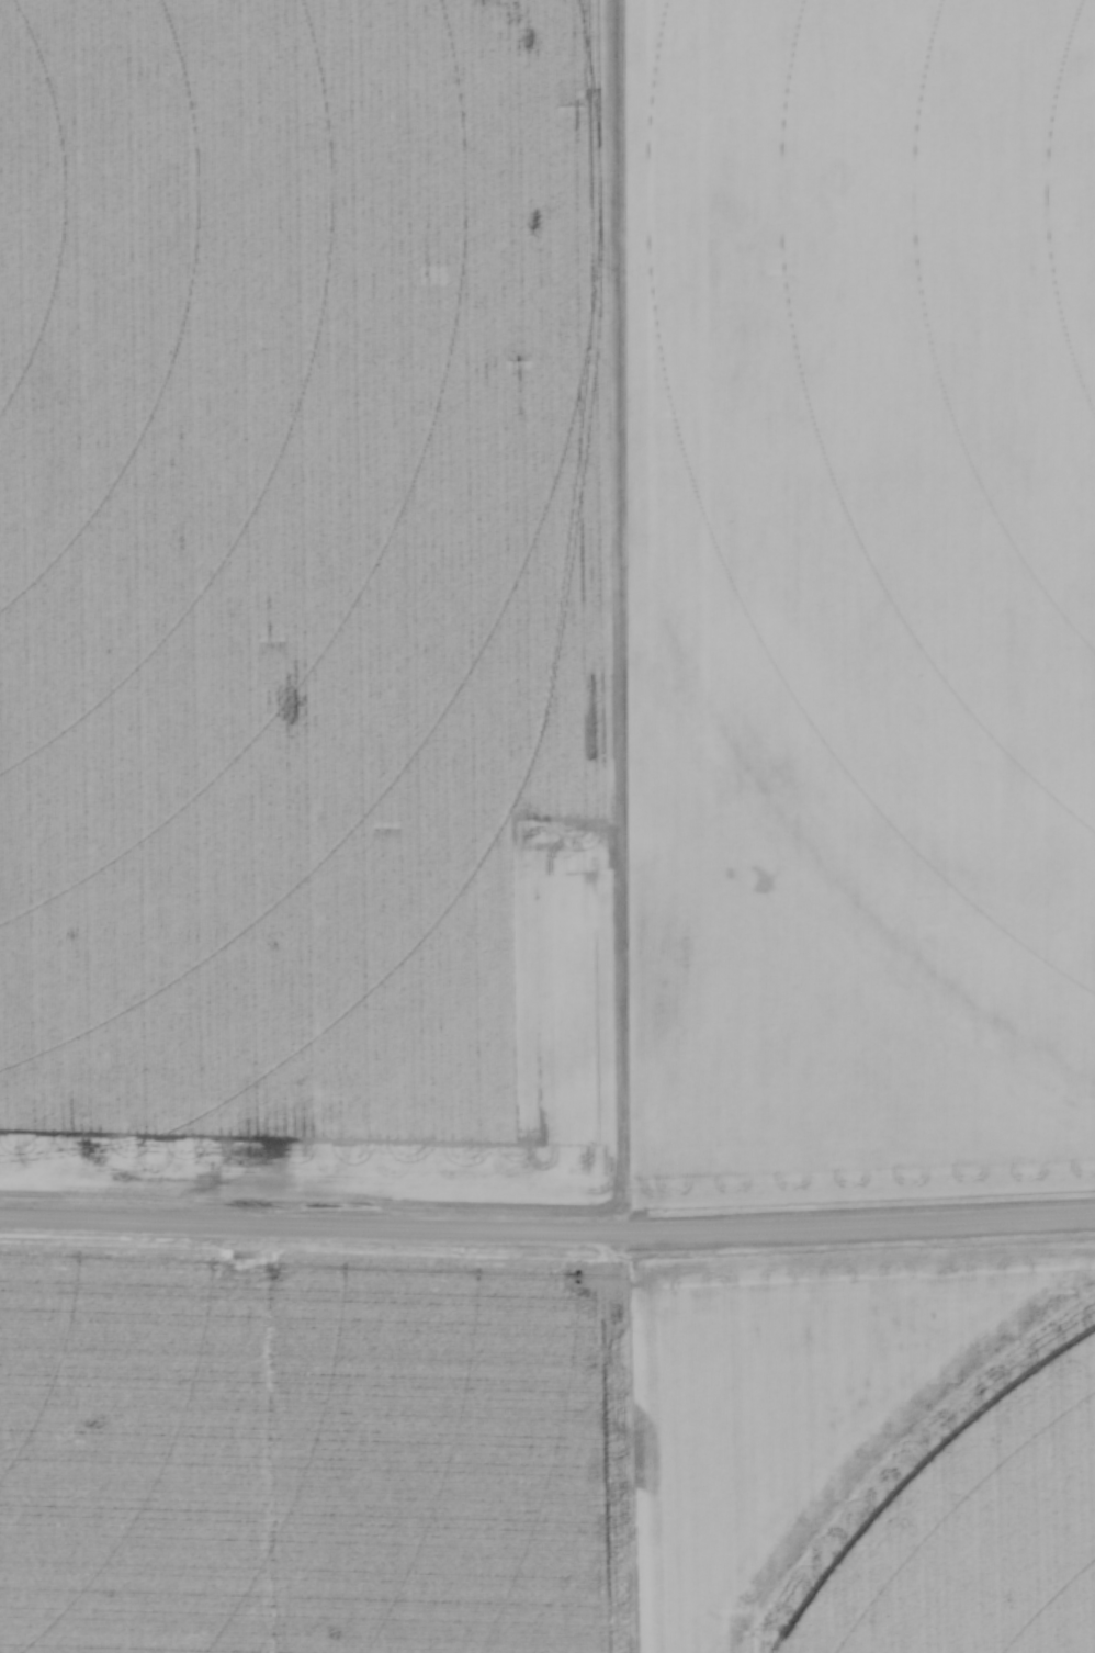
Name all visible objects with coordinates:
road: (547, 1238)

